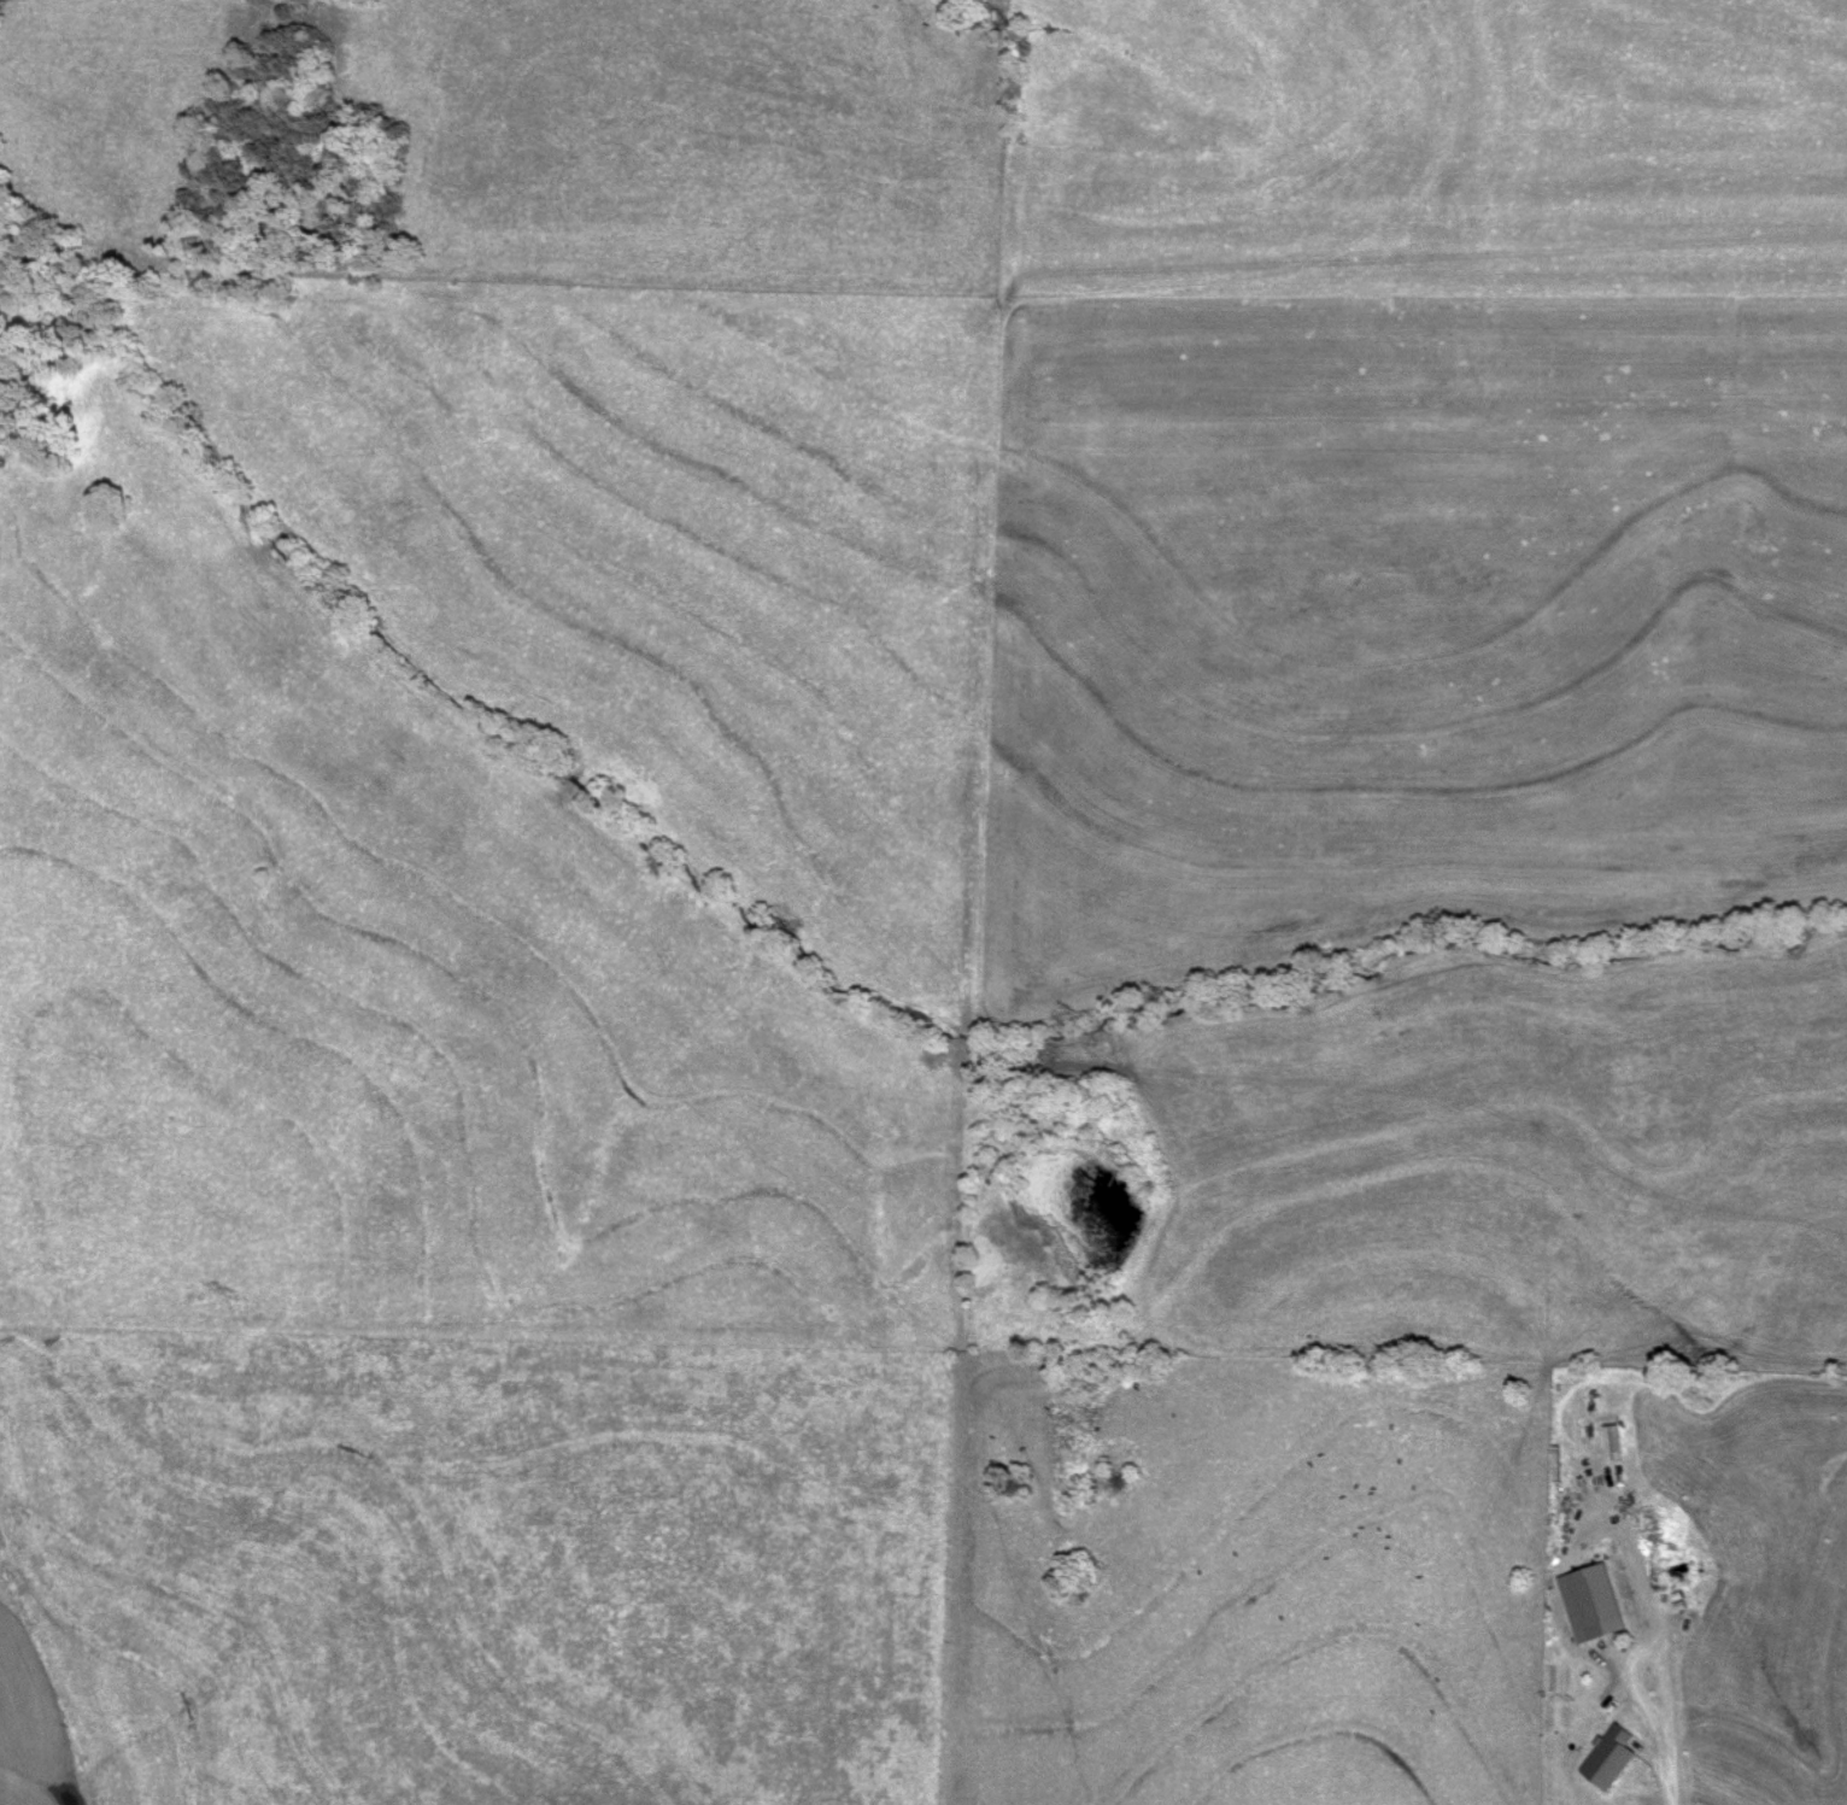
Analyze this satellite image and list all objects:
building: (1593, 1596)
road: (1626, 1676)
building: (1608, 1759)

